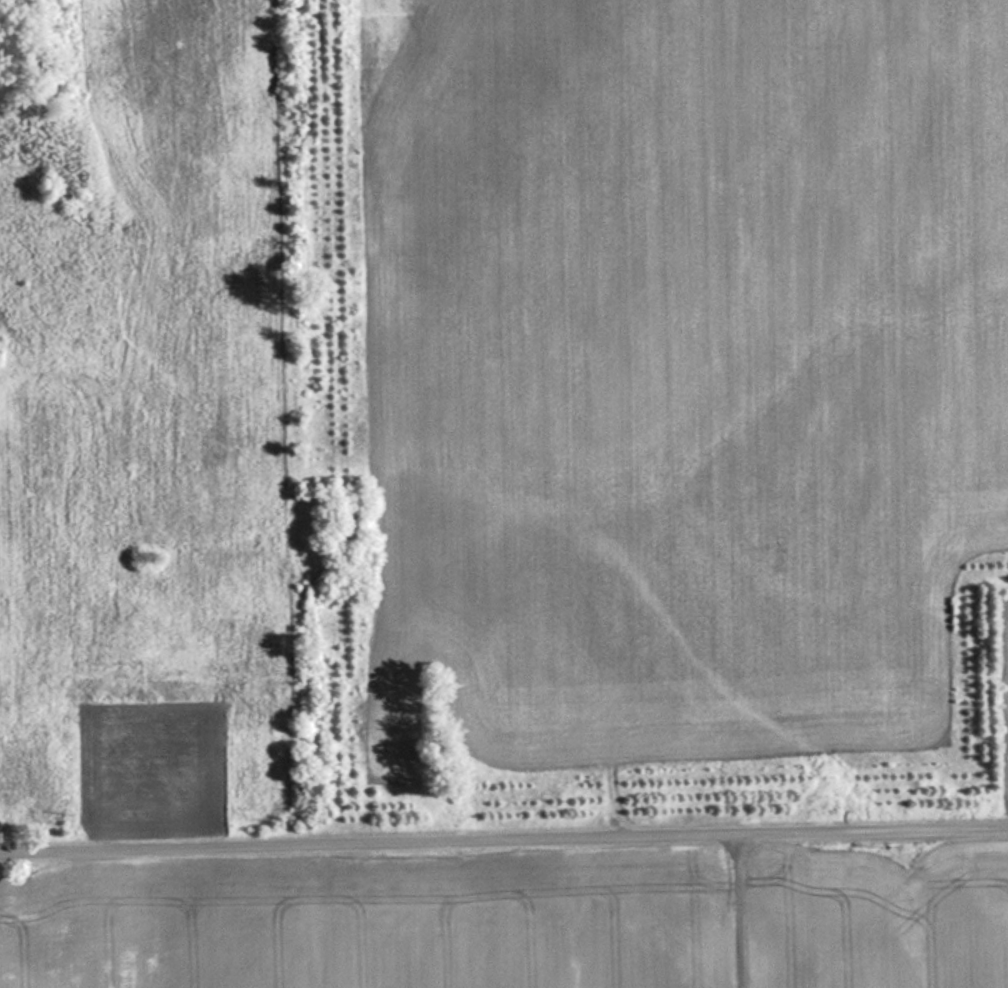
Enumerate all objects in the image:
building: (123, 750)
building: (136, 789)
road: (504, 842)
building: (800, 901)
building: (751, 925)

